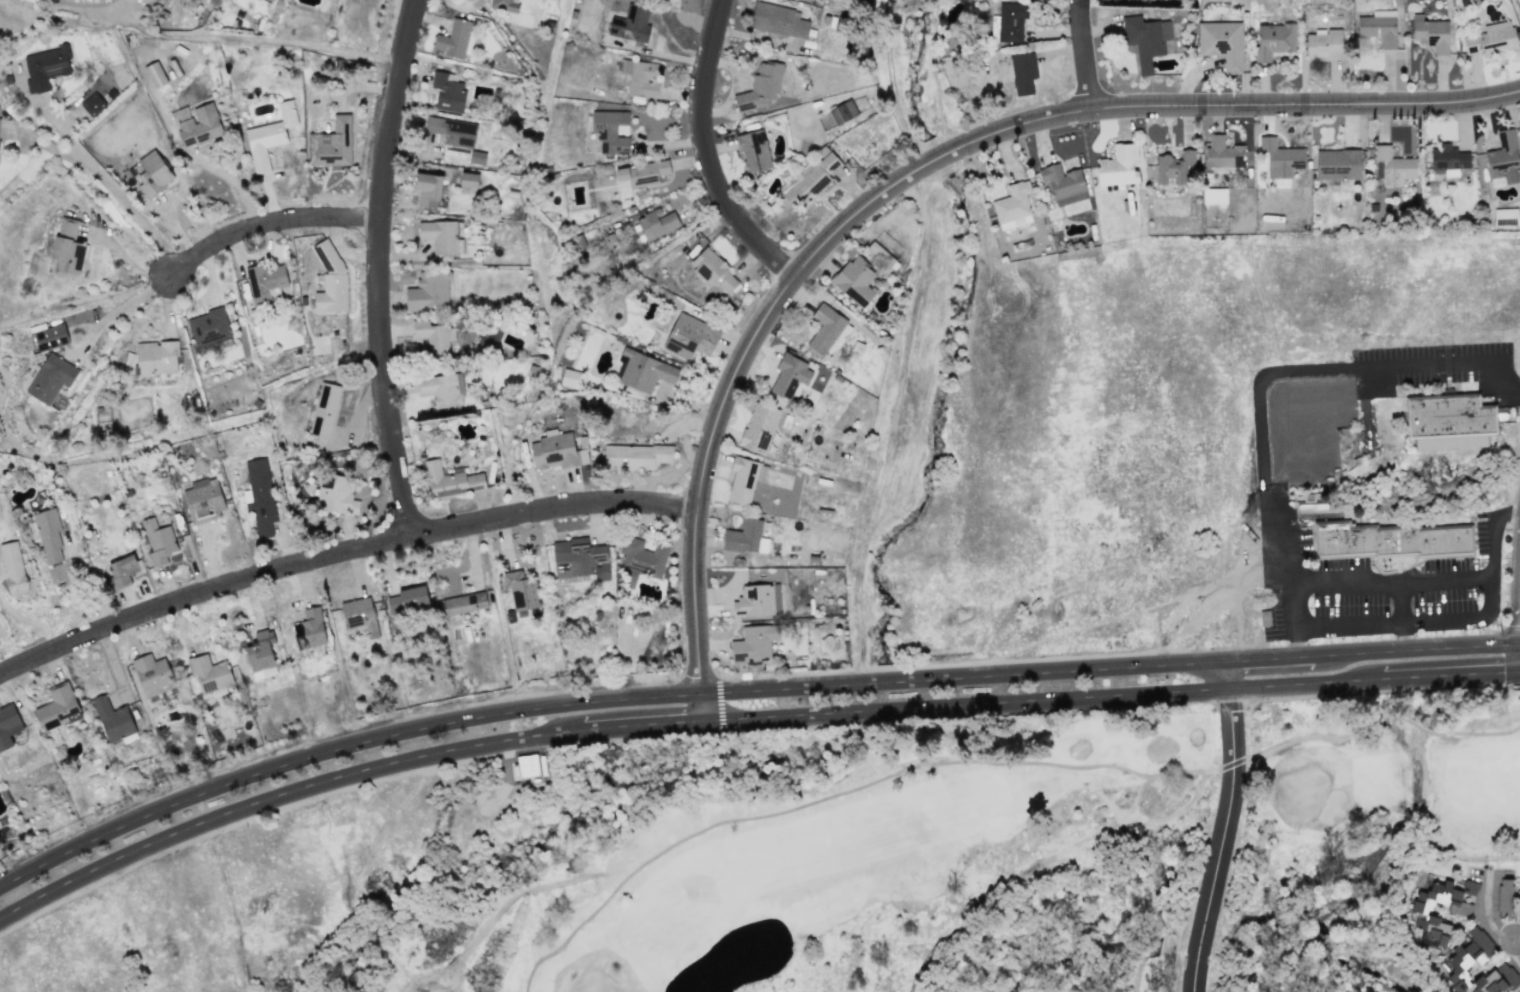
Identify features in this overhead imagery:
building: (209, 0)
building: (267, 0)
building: (1467, 2)
building: (1241, 4)
building: (504, 5)
building: (778, 20)
building: (1010, 21)
building: (630, 24)
building: (1379, 27)
building: (1430, 33)
road: (258, 37)
building: (453, 39)
building: (1145, 39)
building: (1491, 39)
building: (1273, 40)
building: (1221, 43)
building: (1324, 44)
road: (1080, 54)
building: (45, 66)
building: (1023, 72)
building: (155, 74)
building: (640, 77)
road: (551, 79)
building: (760, 87)
building: (447, 91)
building: (92, 103)
building: (842, 111)
building: (452, 130)
building: (610, 131)
building: (269, 136)
building: (331, 143)
building: (753, 150)
road: (43, 151)
road: (703, 153)
building: (1222, 153)
building: (476, 157)
building: (1280, 158)
building: (1503, 158)
building: (1448, 159)
building: (1337, 164)
road: (922, 165)
building: (1118, 166)
building: (1392, 166)
building: (1174, 167)
building: (152, 173)
building: (640, 174)
building: (811, 178)
building: (471, 180)
road: (100, 183)
building: (1063, 183)
road: (218, 185)
building: (427, 189)
building: (1214, 195)
building: (1012, 205)
building: (1505, 212)
road: (269, 222)
building: (653, 224)
building: (439, 235)
building: (67, 248)
road: (375, 265)
building: (713, 269)
building: (329, 278)
building: (855, 280)
building: (265, 281)
building: (428, 291)
road: (114, 304)
building: (208, 326)
building: (825, 328)
building: (690, 336)
building: (50, 337)
building: (431, 337)
building: (157, 357)
road: (1287, 368)
building: (644, 371)
building: (789, 375)
building: (50, 378)
building: (570, 378)
building: (441, 388)
building: (324, 410)
building: (1450, 421)
building: (758, 427)
building: (556, 450)
building: (635, 456)
building: (744, 478)
building: (450, 480)
building: (259, 496)
building: (337, 496)
building: (203, 500)
building: (47, 534)
building: (745, 537)
building: (1386, 539)
building: (158, 541)
road: (337, 549)
building: (641, 557)
building: (579, 558)
building: (13, 568)
building: (123, 569)
road: (1400, 576)
road: (1516, 584)
building: (520, 590)
building: (407, 599)
building: (757, 600)
building: (464, 603)
road: (1401, 611)
building: (360, 615)
building: (1264, 617)
road: (1407, 617)
road: (29, 618)
building: (309, 629)
building: (754, 642)
building: (260, 656)
road: (1110, 662)
building: (151, 673)
building: (209, 674)
road: (1112, 694)
road: (702, 703)
building: (57, 707)
road: (1379, 715)
building: (113, 720)
building: (8, 724)
road: (338, 744)
building: (527, 765)
road: (339, 776)
road: (838, 793)
road: (1225, 824)
park: (1062, 847)
building: (1504, 898)
building: (1422, 914)
road: (1481, 916)
road: (1517, 940)
road: (1146, 954)
building: (1465, 957)
road: (1245, 958)

